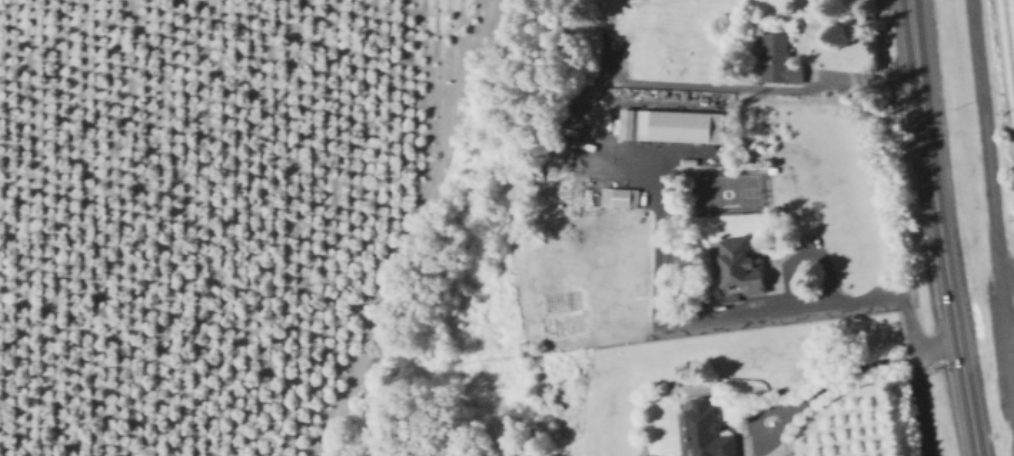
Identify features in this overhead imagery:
building: (589, 57)
building: (779, 60)
crop: (1006, 68)
building: (681, 126)
park: (725, 191)
road: (992, 192)
building: (618, 197)
road: (940, 228)
road: (1007, 265)
building: (741, 266)
road: (714, 320)
road: (841, 379)
road: (917, 379)
building: (708, 432)

